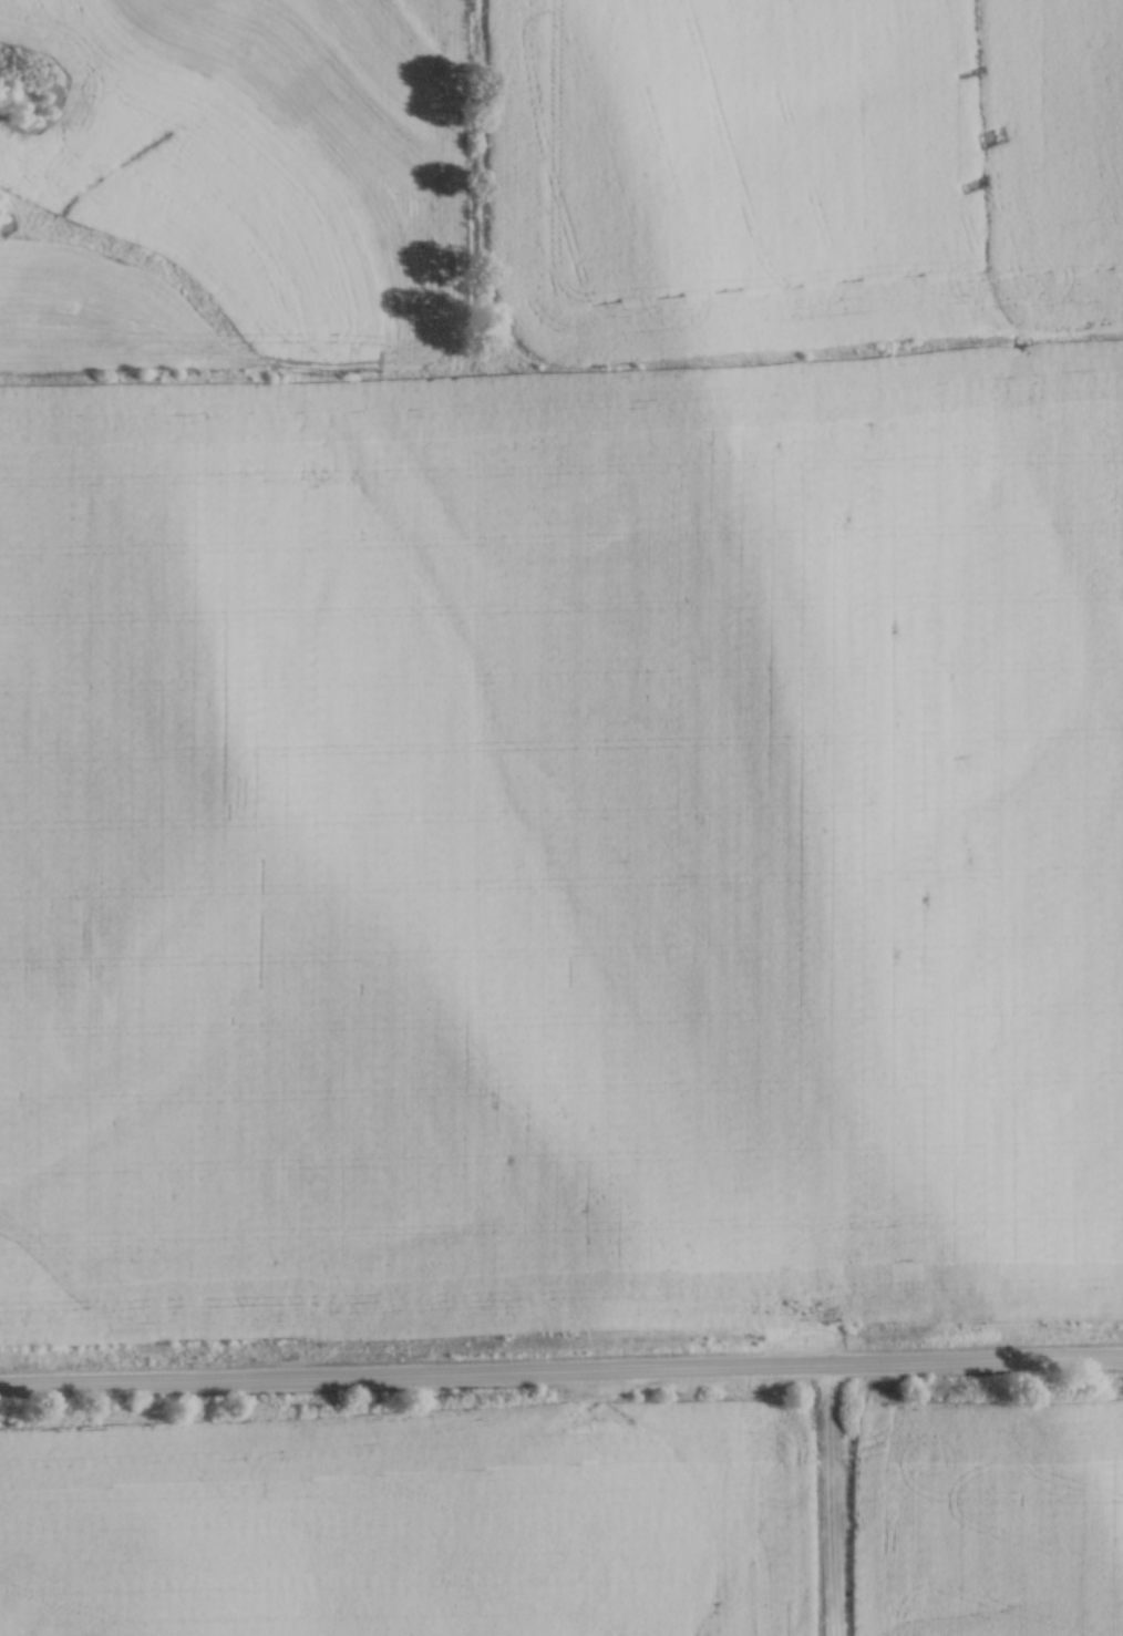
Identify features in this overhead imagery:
road: (561, 1372)

